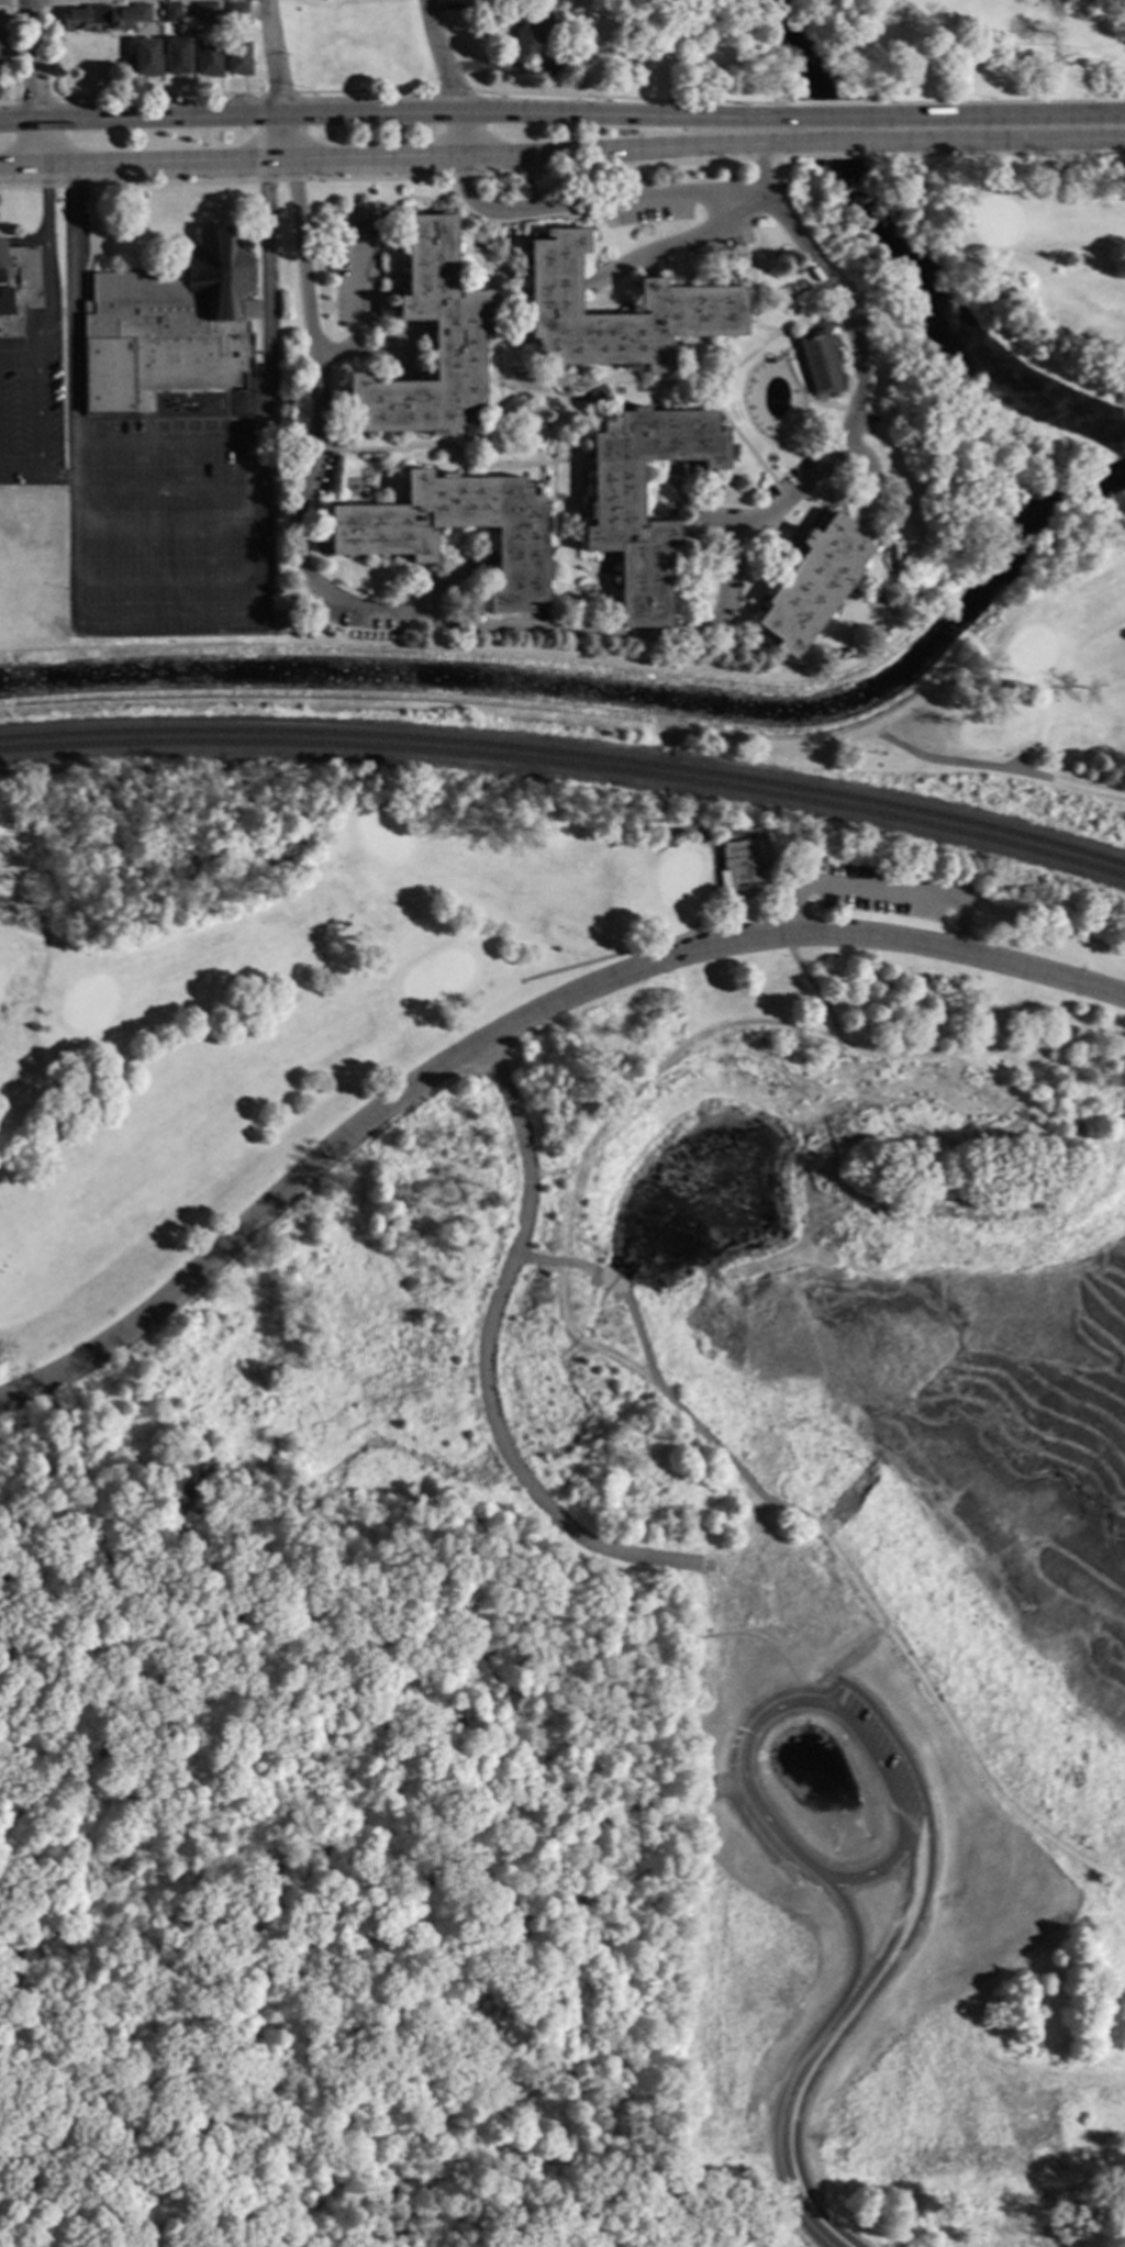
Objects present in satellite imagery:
building: (236, 12)
building: (203, 14)
building: (141, 15)
building: (170, 15)
building: (93, 20)
building: (542, 38)
road: (959, 46)
park: (956, 48)
building: (144, 59)
building: (175, 59)
building: (205, 60)
building: (235, 60)
road: (452, 79)
road: (281, 81)
road: (32, 85)
road: (364, 92)
road: (452, 92)
road: (278, 94)
road: (155, 97)
road: (627, 98)
road: (8, 101)
road: (33, 101)
road: (1004, 102)
road: (835, 104)
road: (392, 111)
road: (999, 115)
road: (829, 119)
road: (257, 135)
road: (1054, 141)
road: (834, 143)
road: (932, 143)
road: (771, 144)
road: (1015, 153)
road: (848, 155)
road: (377, 163)
road: (757, 167)
road: (396, 178)
road: (401, 198)
road: (593, 204)
parking lot: (647, 214)
road: (515, 222)
road: (738, 233)
road: (683, 243)
parking lot: (721, 244)
river: (900, 260)
road: (46, 265)
parking lot: (358, 269)
building: (18, 287)
building: (691, 299)
road: (355, 305)
road: (749, 308)
building: (169, 326)
building: (460, 333)
road: (523, 353)
road: (371, 354)
road: (15, 359)
building: (820, 363)
road: (726, 369)
road: (569, 383)
road: (802, 385)
road: (854, 385)
road: (611, 399)
road: (495, 402)
road: (550, 404)
road: (555, 416)
road: (36, 431)
road: (736, 436)
road: (400, 449)
road: (308, 464)
parking lot: (323, 474)
parking lot: (788, 478)
park: (996, 490)
building: (615, 520)
building: (381, 544)
parking lot: (738, 575)
building: (813, 585)
road: (164, 615)
building: (279, 616)
parking lot: (364, 619)
road: (611, 635)
road: (843, 737)
railway: (567, 756)
railway: (568, 766)
road: (995, 768)
road: (684, 821)
building: (737, 865)
road: (878, 889)
road: (644, 947)
park: (313, 979)
road: (811, 987)
road: (511, 1026)
road: (985, 1035)
road: (589, 1144)
park: (266, 1212)
park: (846, 1270)
road: (484, 1360)
road: (648, 1367)
road: (387, 1447)
road: (274, 1536)
road: (692, 1598)
road: (512, 1616)
road: (424, 1660)
road: (790, 1691)
road: (797, 1704)
road: (937, 1708)
parking lot: (880, 1756)
road: (579, 1809)
road: (710, 1810)
road: (708, 1855)
road: (871, 1871)
road: (266, 1913)
road: (602, 2035)
road: (839, 2036)
road: (779, 2118)
road: (713, 2159)
road: (405, 2218)
road: (491, 2234)
road: (102, 2240)

